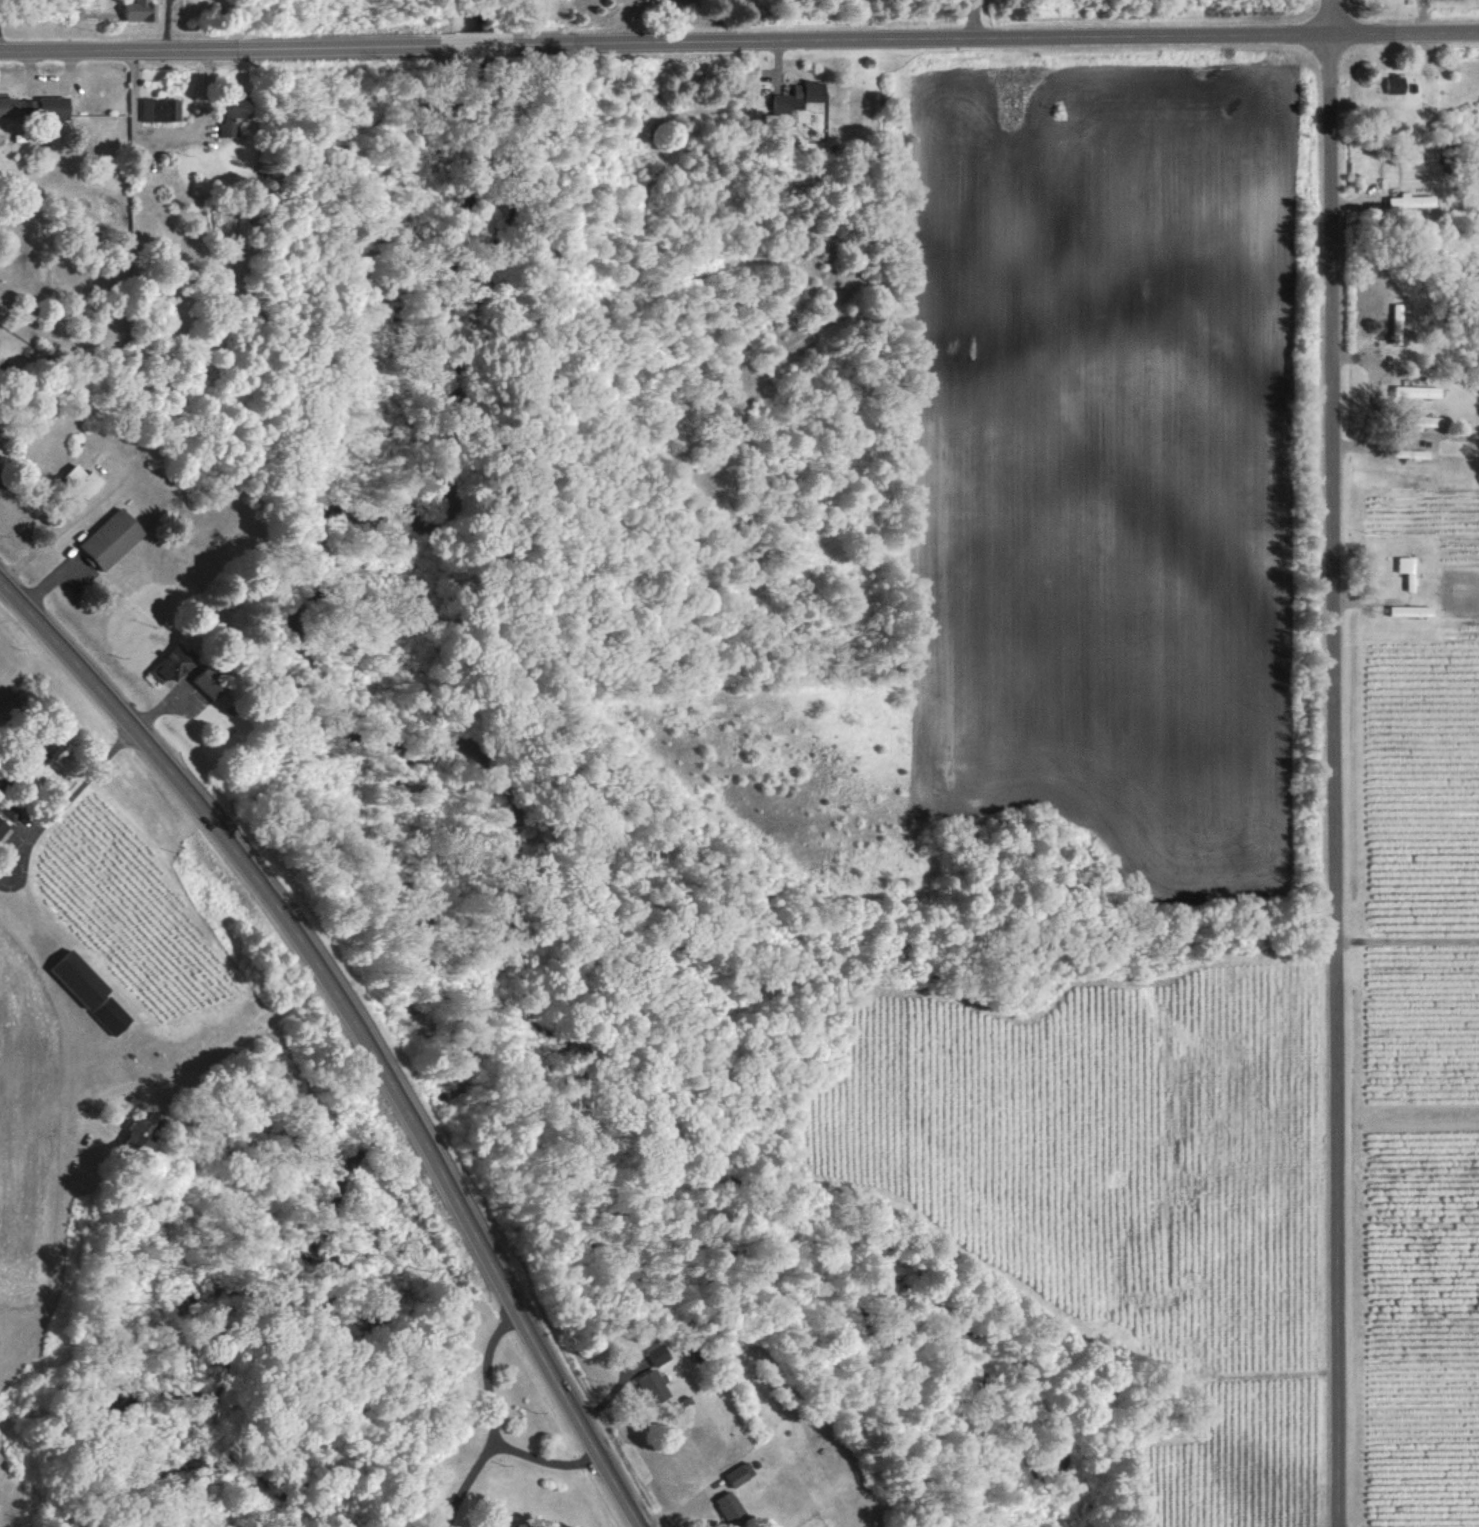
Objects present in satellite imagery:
building: (141, 11)
road: (973, 18)
road: (919, 37)
road: (335, 48)
road: (155, 49)
building: (1393, 84)
building: (800, 96)
building: (35, 106)
building: (161, 108)
building: (235, 116)
road: (167, 136)
building: (1409, 200)
building: (1396, 320)
building: (1414, 391)
building: (1412, 422)
building: (84, 479)
road: (51, 528)
building: (113, 538)
building: (1405, 571)
building: (1406, 611)
building: (171, 665)
building: (210, 683)
building: (55, 747)
road: (1331, 763)
road: (67, 795)
building: (3, 825)
road: (31, 906)
building: (91, 991)
road: (358, 1026)
road: (205, 1059)
building: (147, 1132)
building: (657, 1353)
building: (653, 1386)
road: (491, 1420)
building: (740, 1473)
road: (464, 1479)
building: (730, 1506)

